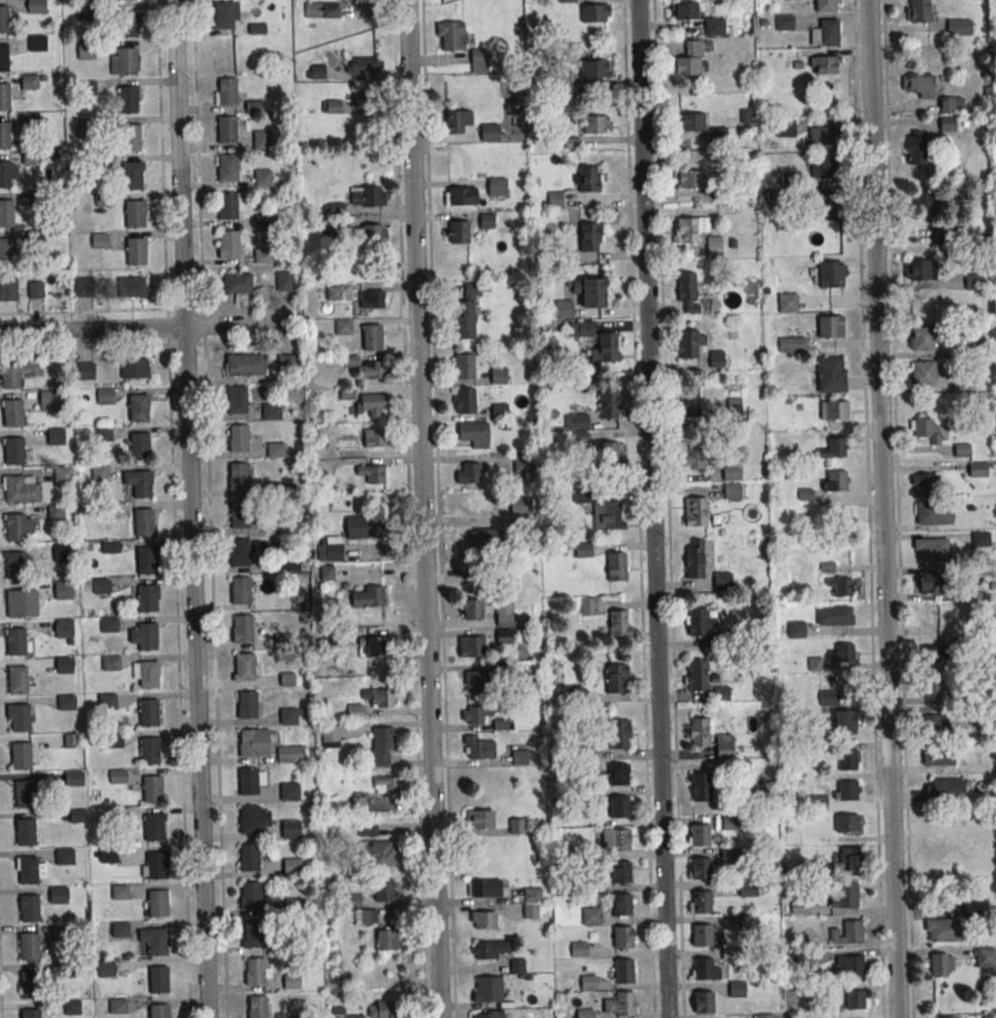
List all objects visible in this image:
building: (124, 0)
building: (788, 0)
building: (36, 6)
building: (825, 6)
building: (321, 9)
building: (684, 10)
building: (87, 13)
building: (595, 13)
building: (226, 16)
building: (4, 21)
building: (784, 23)
building: (128, 24)
building: (959, 27)
building: (715, 28)
building: (829, 33)
building: (451, 35)
building: (36, 44)
building: (85, 51)
building: (4, 59)
building: (478, 59)
building: (691, 59)
building: (128, 63)
building: (364, 64)
building: (825, 66)
building: (595, 68)
building: (30, 83)
building: (917, 85)
building: (568, 86)
building: (87, 89)
building: (227, 93)
building: (4, 98)
building: (365, 99)
building: (128, 101)
building: (951, 104)
building: (456, 121)
building: (691, 121)
building: (29, 122)
building: (947, 123)
building: (596, 124)
building: (83, 128)
building: (785, 128)
building: (227, 131)
building: (488, 132)
building: (719, 136)
building: (4, 137)
building: (825, 138)
building: (130, 140)
building: (262, 141)
building: (917, 148)
road: (160, 154)
building: (96, 165)
building: (227, 169)
building: (828, 169)
building: (7, 172)
building: (132, 178)
building: (263, 179)
building: (588, 179)
building: (691, 180)
building: (789, 180)
building: (497, 187)
building: (721, 193)
building: (367, 196)
building: (460, 196)
building: (773, 198)
building: (37, 199)
building: (555, 199)
building: (926, 200)
building: (228, 207)
building: (832, 207)
building: (6, 215)
building: (135, 215)
building: (487, 222)
building: (454, 231)
building: (687, 231)
building: (940, 232)
building: (367, 234)
building: (590, 236)
building: (35, 237)
building: (100, 242)
building: (229, 246)
building: (713, 247)
building: (7, 253)
building: (136, 254)
building: (262, 257)
building: (919, 271)
building: (831, 276)
building: (284, 281)
building: (973, 281)
building: (237, 284)
building: (134, 286)
building: (82, 287)
building: (688, 288)
building: (8, 289)
building: (34, 290)
building: (590, 291)
building: (372, 298)
building: (787, 302)
road: (146, 309)
building: (563, 309)
building: (467, 313)
road: (145, 327)
building: (829, 327)
building: (580, 328)
building: (371, 337)
building: (923, 340)
building: (688, 343)
building: (791, 344)
road: (146, 345)
building: (608, 347)
building: (716, 359)
building: (246, 364)
building: (463, 365)
building: (135, 368)
building: (371, 369)
building: (85, 372)
building: (829, 374)
building: (498, 375)
building: (924, 375)
building: (10, 376)
building: (105, 398)
building: (236, 399)
building: (465, 400)
building: (52, 401)
building: (689, 403)
building: (371, 404)
building: (609, 404)
building: (734, 408)
building: (138, 410)
building: (833, 410)
building: (271, 411)
building: (13, 415)
building: (576, 421)
building: (926, 429)
building: (474, 434)
building: (103, 435)
building: (55, 437)
building: (238, 437)
building: (376, 438)
building: (836, 446)
building: (140, 447)
building: (275, 449)
building: (14, 453)
building: (611, 454)
building: (692, 456)
building: (522, 463)
building: (978, 469)
building: (731, 471)
building: (373, 473)
building: (468, 473)
building: (99, 474)
building: (237, 476)
building: (63, 478)
building: (835, 480)
building: (926, 484)
building: (142, 486)
building: (20, 489)
building: (732, 490)
building: (520, 505)
road: (421, 508)
road: (190, 509)
road: (208, 509)
road: (650, 509)
road: (867, 509)
road: (883, 509)
road: (897, 509)
building: (694, 510)
building: (56, 512)
building: (103, 512)
building: (933, 512)
building: (607, 515)
building: (239, 516)
building: (144, 524)
building: (13, 526)
building: (361, 527)
building: (484, 538)
building: (110, 546)
building: (329, 549)
building: (929, 549)
building: (61, 551)
building: (239, 553)
building: (146, 561)
building: (14, 564)
building: (694, 565)
building: (615, 566)
building: (929, 582)
building: (100, 585)
building: (841, 585)
building: (62, 589)
building: (239, 590)
building: (369, 596)
building: (147, 597)
building: (15, 601)
building: (588, 606)
building: (472, 609)
building: (504, 613)
building: (833, 615)
building: (696, 622)
building: (108, 624)
building: (619, 624)
building: (63, 628)
building: (243, 628)
building: (796, 629)
building: (145, 636)
building: (504, 636)
building: (16, 640)
building: (281, 640)
building: (471, 646)
building: (377, 647)
building: (844, 652)
building: (933, 654)
building: (109, 662)
road: (178, 663)
building: (63, 665)
building: (242, 666)
building: (148, 674)
building: (613, 677)
building: (698, 677)
building: (17, 680)
building: (475, 680)
building: (929, 687)
building: (828, 698)
building: (106, 701)
building: (65, 702)
building: (246, 705)
building: (147, 713)
building: (476, 714)
building: (287, 716)
building: (19, 717)
building: (845, 722)
building: (935, 723)
building: (501, 724)
building: (619, 733)
building: (699, 733)
building: (330, 736)
building: (112, 739)
building: (71, 741)
building: (253, 741)
building: (724, 746)
building: (382, 747)
building: (478, 747)
building: (148, 751)
building: (589, 753)
building: (289, 754)
building: (20, 755)
building: (937, 755)
building: (519, 757)
building: (847, 760)
building: (617, 774)
building: (116, 776)
building: (72, 779)
building: (248, 780)
building: (386, 785)
building: (699, 787)
building: (151, 788)
building: (944, 789)
building: (847, 790)
building: (24, 793)
building: (288, 793)
building: (358, 801)
building: (618, 806)
building: (117, 815)
building: (595, 815)
building: (77, 816)
building: (252, 818)
building: (479, 819)
building: (729, 823)
building: (847, 823)
building: (516, 825)
building: (152, 827)
building: (290, 828)
building: (366, 829)
building: (25, 832)
building: (698, 835)
building: (619, 839)
building: (574, 852)
building: (377, 853)
building: (107, 854)
building: (248, 856)
building: (728, 856)
building: (63, 857)
building: (849, 858)
building: (156, 864)
building: (291, 868)
building: (27, 869)
building: (700, 869)
building: (620, 872)
building: (583, 883)
building: (484, 888)
building: (747, 889)
building: (118, 892)
building: (386, 893)
building: (531, 894)
building: (57, 895)
building: (249, 895)
building: (847, 897)
building: (700, 902)
building: (156, 903)
building: (621, 905)
building: (292, 906)
building: (29, 907)
building: (972, 908)
building: (591, 916)
building: (484, 920)
building: (747, 922)
building: (119, 930)
building: (941, 930)
building: (852, 931)
building: (59, 932)
building: (252, 933)
building: (700, 935)
building: (621, 937)
building: (388, 938)
building: (155, 941)
building: (28, 946)
building: (489, 949)
building: (578, 949)
building: (986, 957)
building: (941, 964)
building: (853, 965)
building: (105, 968)
building: (701, 968)
building: (71, 970)
building: (252, 971)
building: (622, 971)
building: (158, 978)
building: (291, 981)
building: (586, 983)
building: (29, 984)
building: (486, 989)
building: (736, 989)
building: (854, 999)
road: (0, 1001)
building: (703, 1002)
building: (623, 1005)
building: (116, 1006)
building: (255, 1006)
building: (71, 1008)
building: (382, 1009)
building: (156, 1011)
building: (28, 1013)
building: (584, 1013)
building: (487, 1015)
building: (301, 1016)
building: (762, 1016)
building: (949, 1017)

